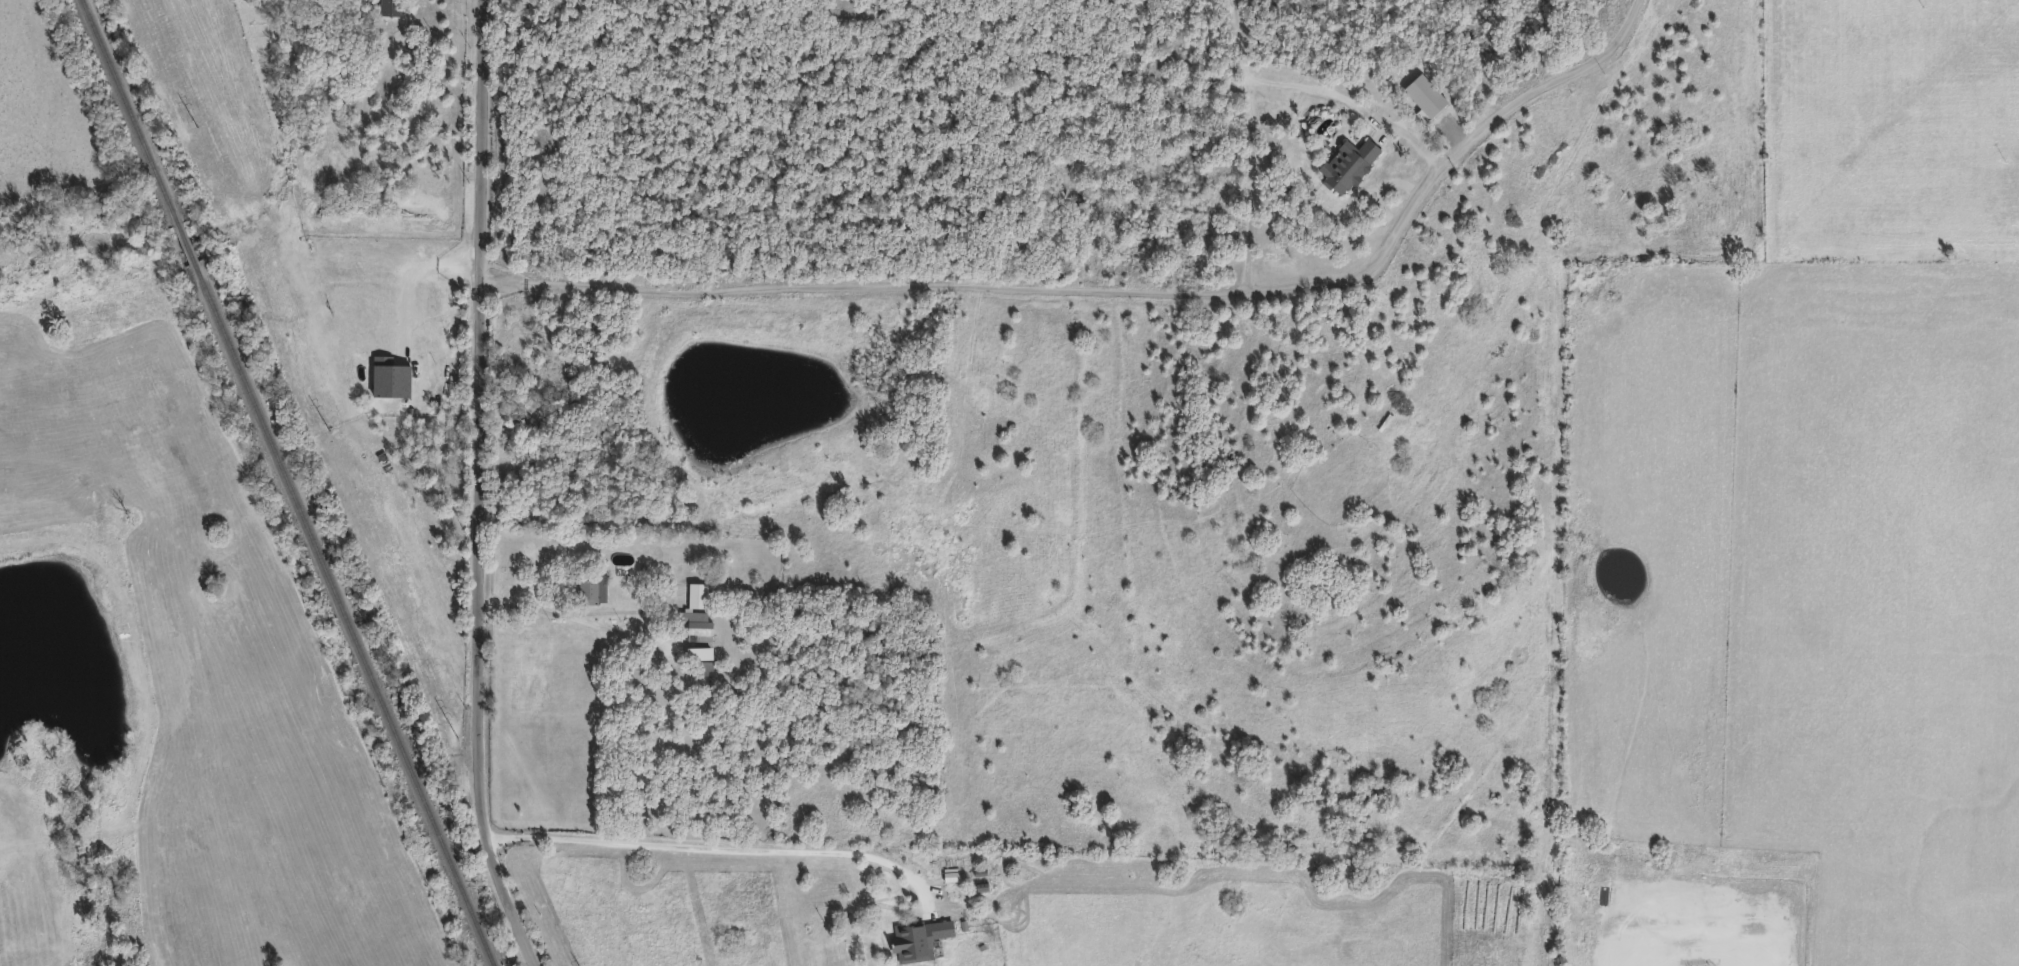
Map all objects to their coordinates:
road: (1315, 90)
building: (1345, 163)
road: (1253, 187)
road: (1123, 293)
railway: (287, 482)
road: (486, 487)
building: (589, 588)
building: (695, 594)
building: (696, 625)
road: (629, 634)
road: (716, 848)
building: (914, 938)

